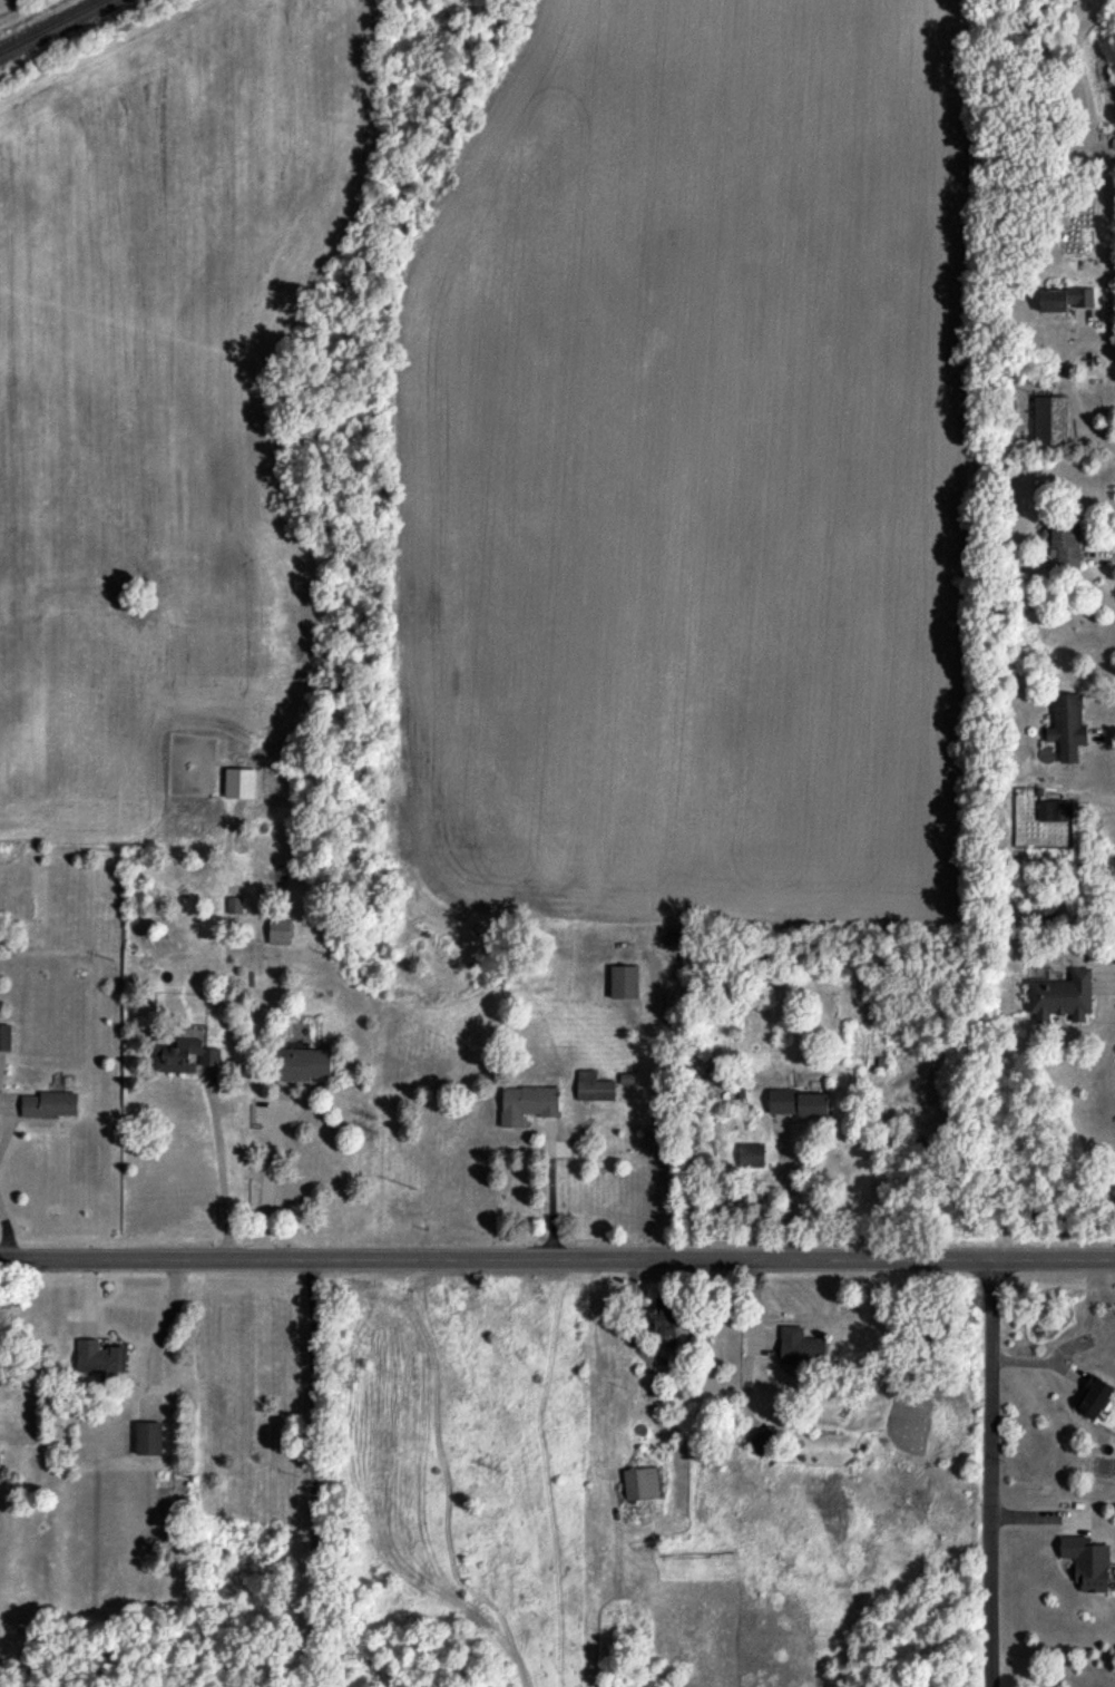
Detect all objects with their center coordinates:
railway: (50, 26)
building: (1065, 299)
road: (1069, 398)
building: (1050, 419)
building: (1066, 543)
building: (1067, 725)
building: (239, 782)
building: (1055, 810)
building: (234, 904)
building: (278, 929)
building: (624, 981)
building: (1062, 995)
building: (6, 1036)
building: (184, 1055)
building: (302, 1063)
building: (594, 1086)
building: (796, 1101)
building: (527, 1103)
building: (50, 1104)
road: (8, 1121)
building: (751, 1154)
road: (221, 1172)
road: (267, 1187)
road: (785, 1188)
road: (6, 1232)
road: (557, 1257)
building: (665, 1316)
building: (801, 1346)
building: (100, 1356)
building: (1093, 1396)
building: (147, 1440)
building: (764, 1440)
road: (989, 1473)
building: (640, 1482)
building: (1087, 1561)

